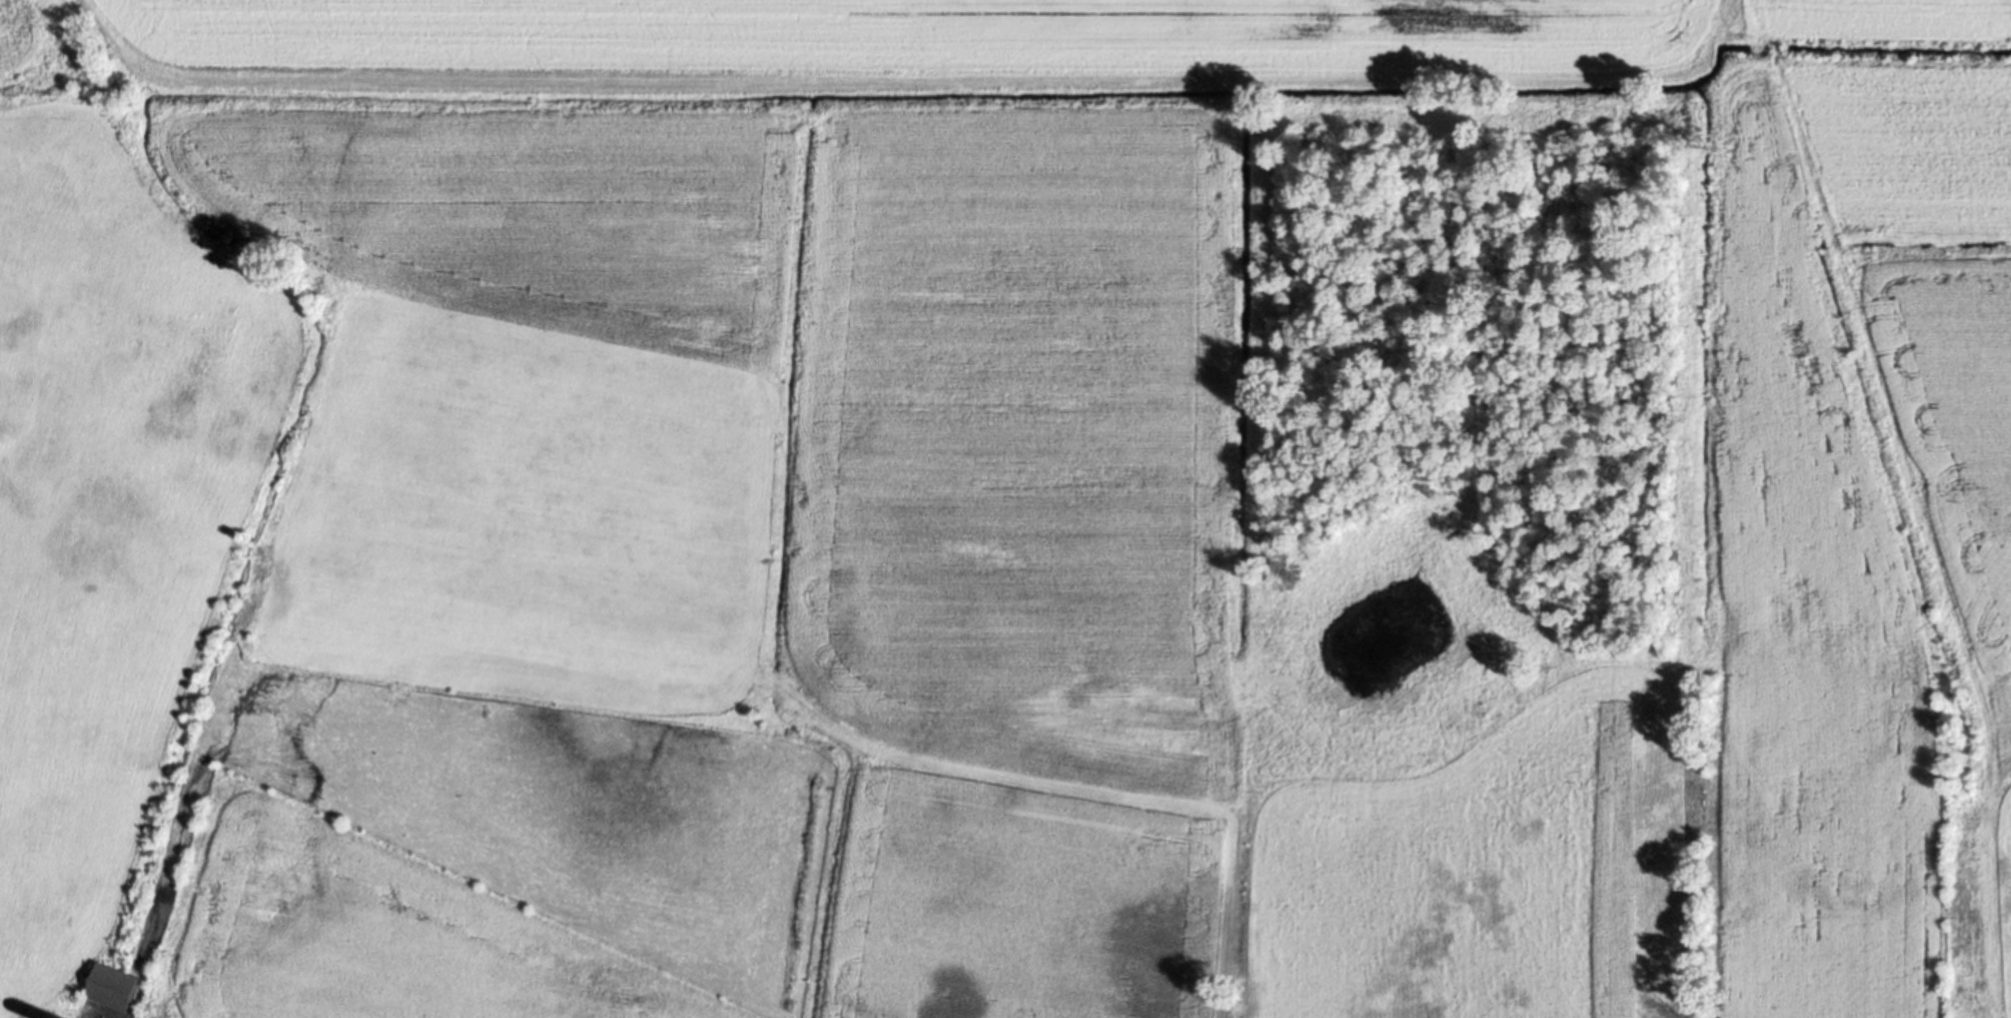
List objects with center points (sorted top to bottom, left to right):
building: (115, 992)

